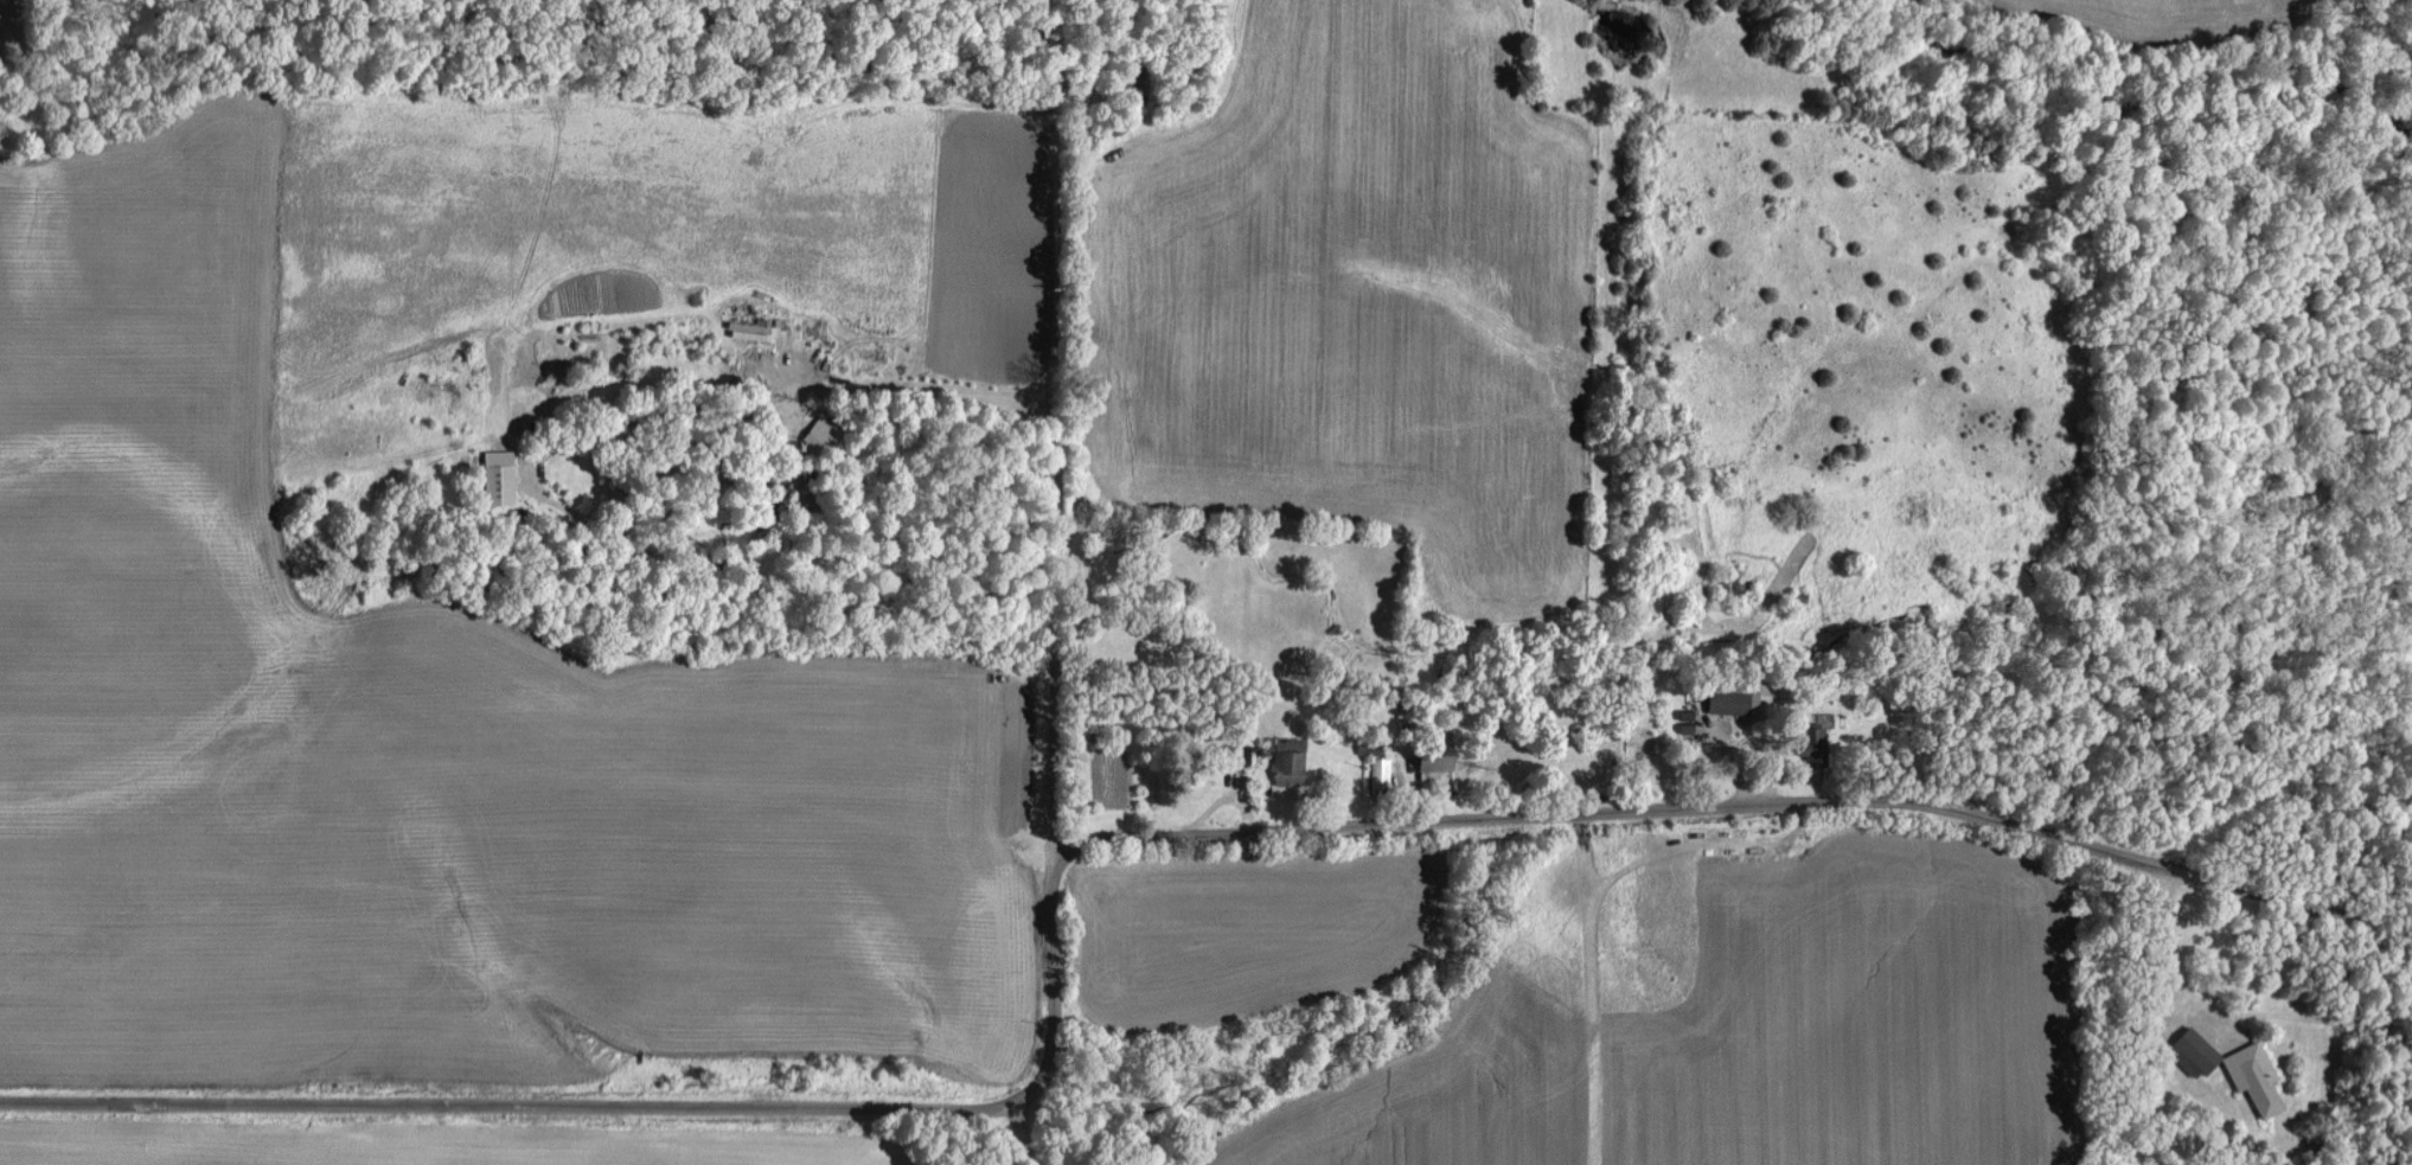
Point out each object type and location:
building: (750, 329)
building: (820, 435)
building: (500, 476)
road: (1053, 514)
building: (1729, 702)
building: (1822, 740)
building: (1439, 760)
building: (1290, 764)
building: (1382, 774)
road: (1103, 839)
road: (2152, 952)
building: (2247, 1076)
road: (1025, 1133)

